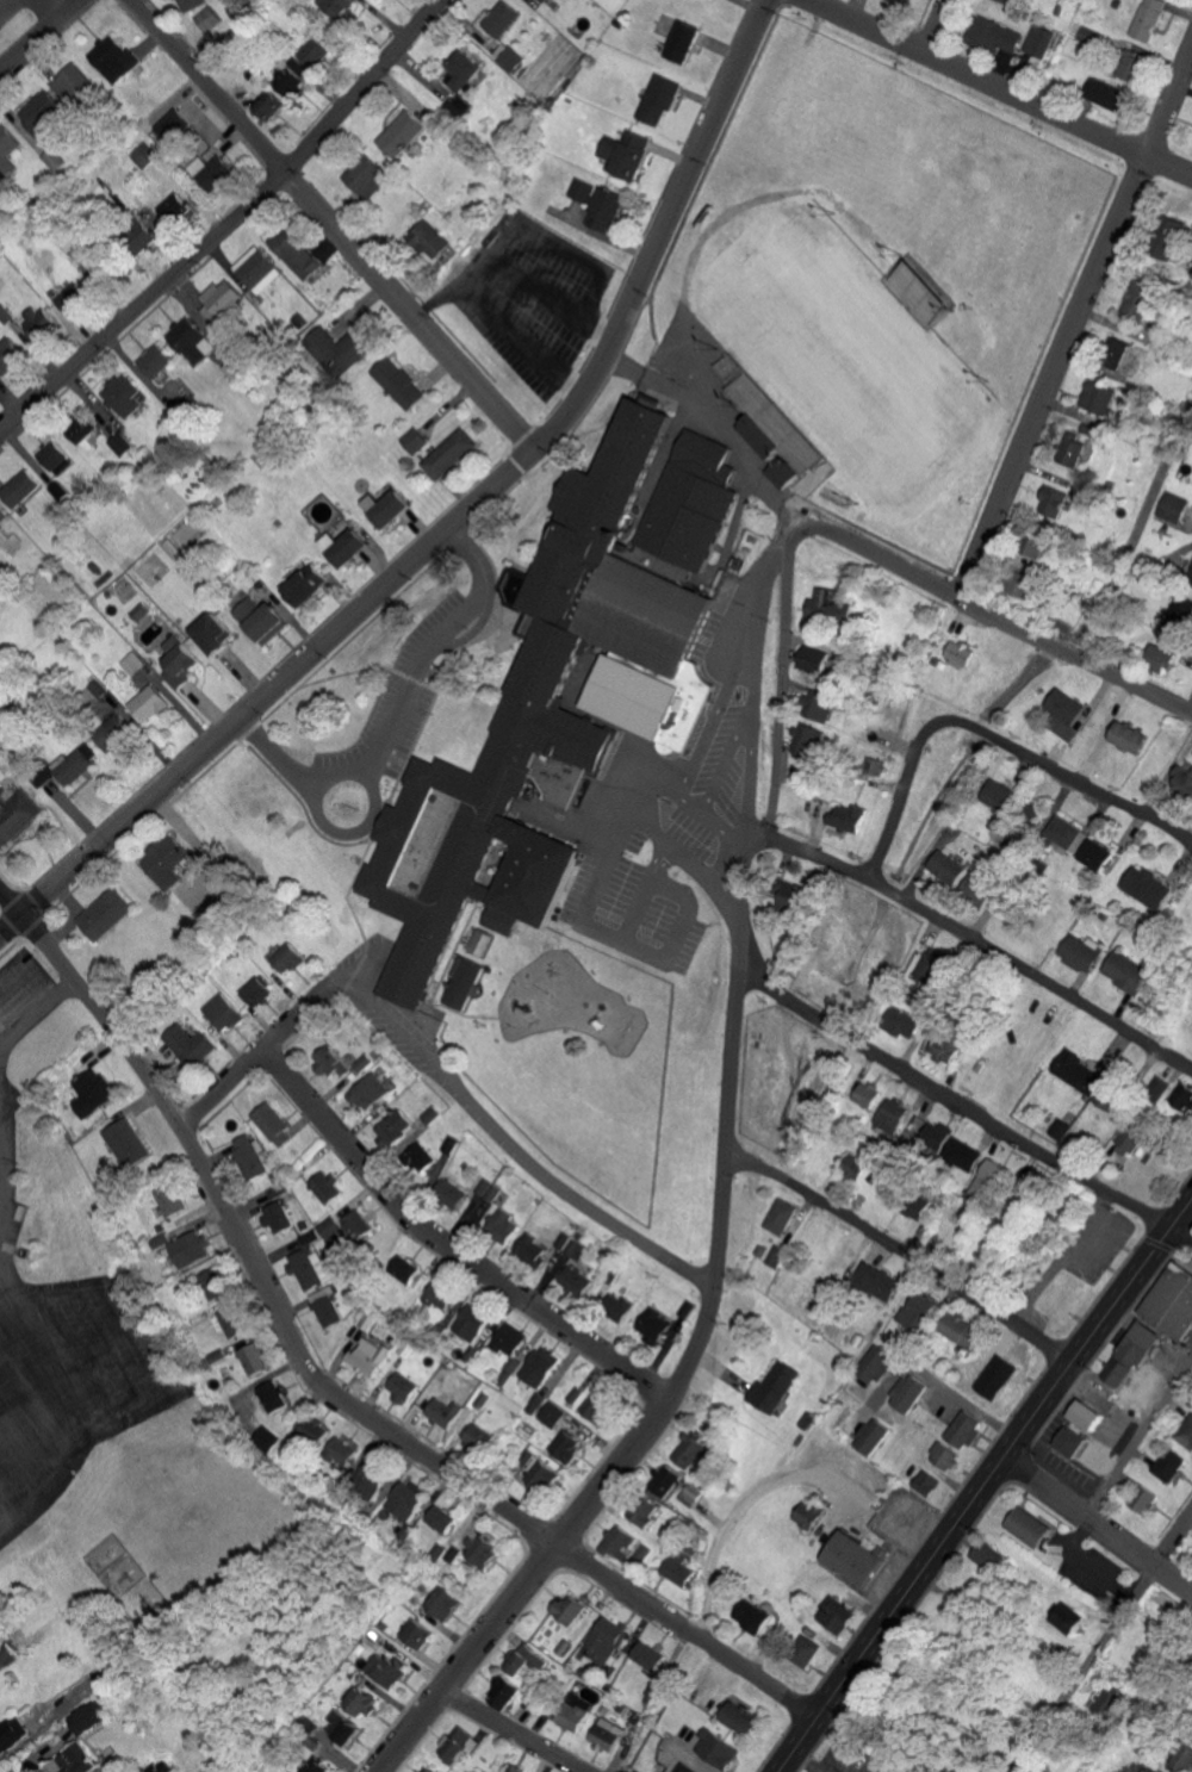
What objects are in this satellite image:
building: (546, 0)
building: (904, 1)
building: (1012, 1)
building: (188, 5)
building: (337, 7)
road: (853, 10)
road: (55, 11)
road: (15, 12)
building: (206, 18)
building: (505, 19)
building: (1150, 19)
road: (939, 32)
building: (995, 35)
building: (1092, 35)
road: (42, 38)
building: (687, 41)
building: (1041, 41)
building: (315, 51)
building: (511, 56)
building: (112, 58)
building: (465, 70)
building: (288, 75)
building: (77, 82)
building: (1110, 94)
road: (998, 98)
building: (660, 99)
building: (268, 105)
building: (43, 112)
building: (403, 133)
building: (8, 147)
building: (628, 153)
building: (145, 155)
building: (55, 158)
building: (212, 170)
building: (366, 178)
building: (588, 191)
building: (181, 207)
building: (609, 210)
road: (324, 226)
road: (232, 230)
building: (144, 236)
building: (1171, 238)
building: (429, 240)
building: (297, 254)
road: (509, 268)
building: (260, 269)
building: (73, 294)
building: (1142, 296)
building: (224, 300)
road: (1072, 319)
road: (521, 338)
building: (194, 341)
building: (336, 350)
building: (11, 355)
building: (159, 360)
park: (844, 362)
building: (237, 369)
building: (401, 383)
building: (126, 394)
building: (1100, 397)
road: (714, 421)
building: (87, 433)
building: (774, 433)
building: (417, 441)
building: (124, 444)
building: (1074, 453)
building: (452, 454)
building: (56, 455)
building: (23, 487)
building: (693, 502)
building: (1054, 502)
building: (389, 508)
building: (1172, 508)
building: (2, 515)
road: (455, 522)
road: (1134, 527)
building: (344, 547)
building: (1041, 548)
building: (1190, 578)
building: (304, 586)
building: (1025, 586)
road: (756, 599)
building: (827, 605)
building: (1179, 614)
building: (260, 620)
road: (993, 623)
building: (212, 633)
building: (957, 653)
road: (421, 655)
building: (1160, 658)
building: (132, 663)
building: (179, 663)
building: (819, 663)
road: (777, 680)
road: (751, 685)
building: (93, 694)
building: (148, 704)
building: (815, 704)
building: (118, 714)
building: (1063, 715)
building: (535, 722)
road: (707, 726)
road: (750, 726)
building: (1130, 738)
building: (107, 739)
building: (805, 740)
road: (988, 740)
road: (278, 760)
building: (75, 764)
building: (873, 766)
building: (1184, 779)
building: (999, 795)
building: (17, 815)
road: (712, 817)
building: (845, 817)
building: (1067, 834)
road: (673, 847)
building: (1095, 854)
road: (659, 862)
building: (945, 868)
building: (172, 872)
building: (1148, 888)
building: (977, 889)
building: (787, 897)
building: (105, 914)
building: (482, 943)
road: (637, 945)
road: (981, 950)
building: (1080, 952)
building: (293, 965)
building: (929, 968)
building: (1126, 971)
building: (465, 984)
building: (259, 993)
road: (33, 1013)
building: (223, 1013)
building: (900, 1024)
building: (188, 1045)
building: (942, 1050)
road: (252, 1055)
building: (330, 1062)
building: (1080, 1074)
building: (1159, 1089)
building: (370, 1093)
building: (91, 1094)
building: (864, 1095)
building: (1107, 1098)
building: (1184, 1098)
road: (960, 1107)
building: (430, 1115)
building: (890, 1118)
building: (273, 1125)
building: (395, 1127)
building: (927, 1134)
building: (1128, 1140)
building: (125, 1143)
road: (507, 1145)
building: (248, 1155)
building: (964, 1155)
building: (417, 1156)
building: (325, 1186)
building: (274, 1190)
building: (448, 1192)
building: (170, 1198)
building: (917, 1205)
building: (278, 1215)
building: (776, 1215)
building: (353, 1220)
building: (499, 1224)
building: (329, 1226)
building: (161, 1241)
building: (572, 1245)
road: (441, 1246)
building: (191, 1248)
building: (532, 1248)
building: (771, 1255)
road: (899, 1255)
building: (309, 1266)
building: (403, 1268)
building: (573, 1279)
building: (877, 1281)
building: (216, 1282)
building: (439, 1294)
building: (1172, 1300)
building: (327, 1306)
building: (616, 1306)
building: (921, 1311)
building: (234, 1320)
building: (472, 1322)
building: (651, 1325)
building: (961, 1329)
building: (510, 1338)
road: (693, 1347)
building: (1131, 1353)
building: (368, 1355)
building: (255, 1357)
building: (874, 1363)
building: (539, 1367)
building: (999, 1375)
building: (771, 1385)
road: (938, 1385)
building: (402, 1386)
building: (908, 1392)
building: (573, 1393)
building: (274, 1395)
building: (583, 1397)
building: (535, 1403)
building: (597, 1406)
building: (449, 1407)
road: (353, 1411)
road: (1130, 1411)
building: (551, 1413)
building: (1088, 1413)
building: (964, 1428)
building: (1185, 1432)
building: (476, 1435)
building: (870, 1435)
building: (268, 1437)
building: (328, 1442)
building: (1070, 1442)
building: (565, 1445)
building: (690, 1453)
building: (944, 1455)
building: (1168, 1463)
building: (536, 1471)
building: (373, 1478)
building: (664, 1479)
building: (926, 1482)
road: (982, 1484)
building: (690, 1493)
building: (1142, 1498)
building: (406, 1500)
building: (645, 1510)
road: (734, 1513)
building: (807, 1515)
building: (441, 1517)
building: (1029, 1525)
road: (1097, 1525)
building: (619, 1540)
building: (472, 1548)
building: (436, 1553)
building: (856, 1558)
building: (678, 1567)
building: (442, 1603)
building: (567, 1609)
building: (837, 1615)
building: (756, 1617)
building: (1064, 1617)
building: (416, 1633)
building: (606, 1639)
road: (1100, 1642)
building: (806, 1649)
building: (7, 1653)
building: (648, 1655)
building: (520, 1659)
building: (383, 1670)
building: (502, 1691)
building: (360, 1701)
building: (575, 1711)
building: (88, 1718)
building: (745, 1718)
building: (341, 1727)
building: (607, 1733)
road: (508, 1734)
building: (11, 1745)
building: (458, 1745)
building: (720, 1748)
building: (1180, 1758)
building: (74, 1759)
road: (800, 1762)
building: (316, 1766)
building: (514, 1767)
building: (685, 1767)
building: (427, 1770)
building: (1143, 1770)
building: (1149, 1770)

